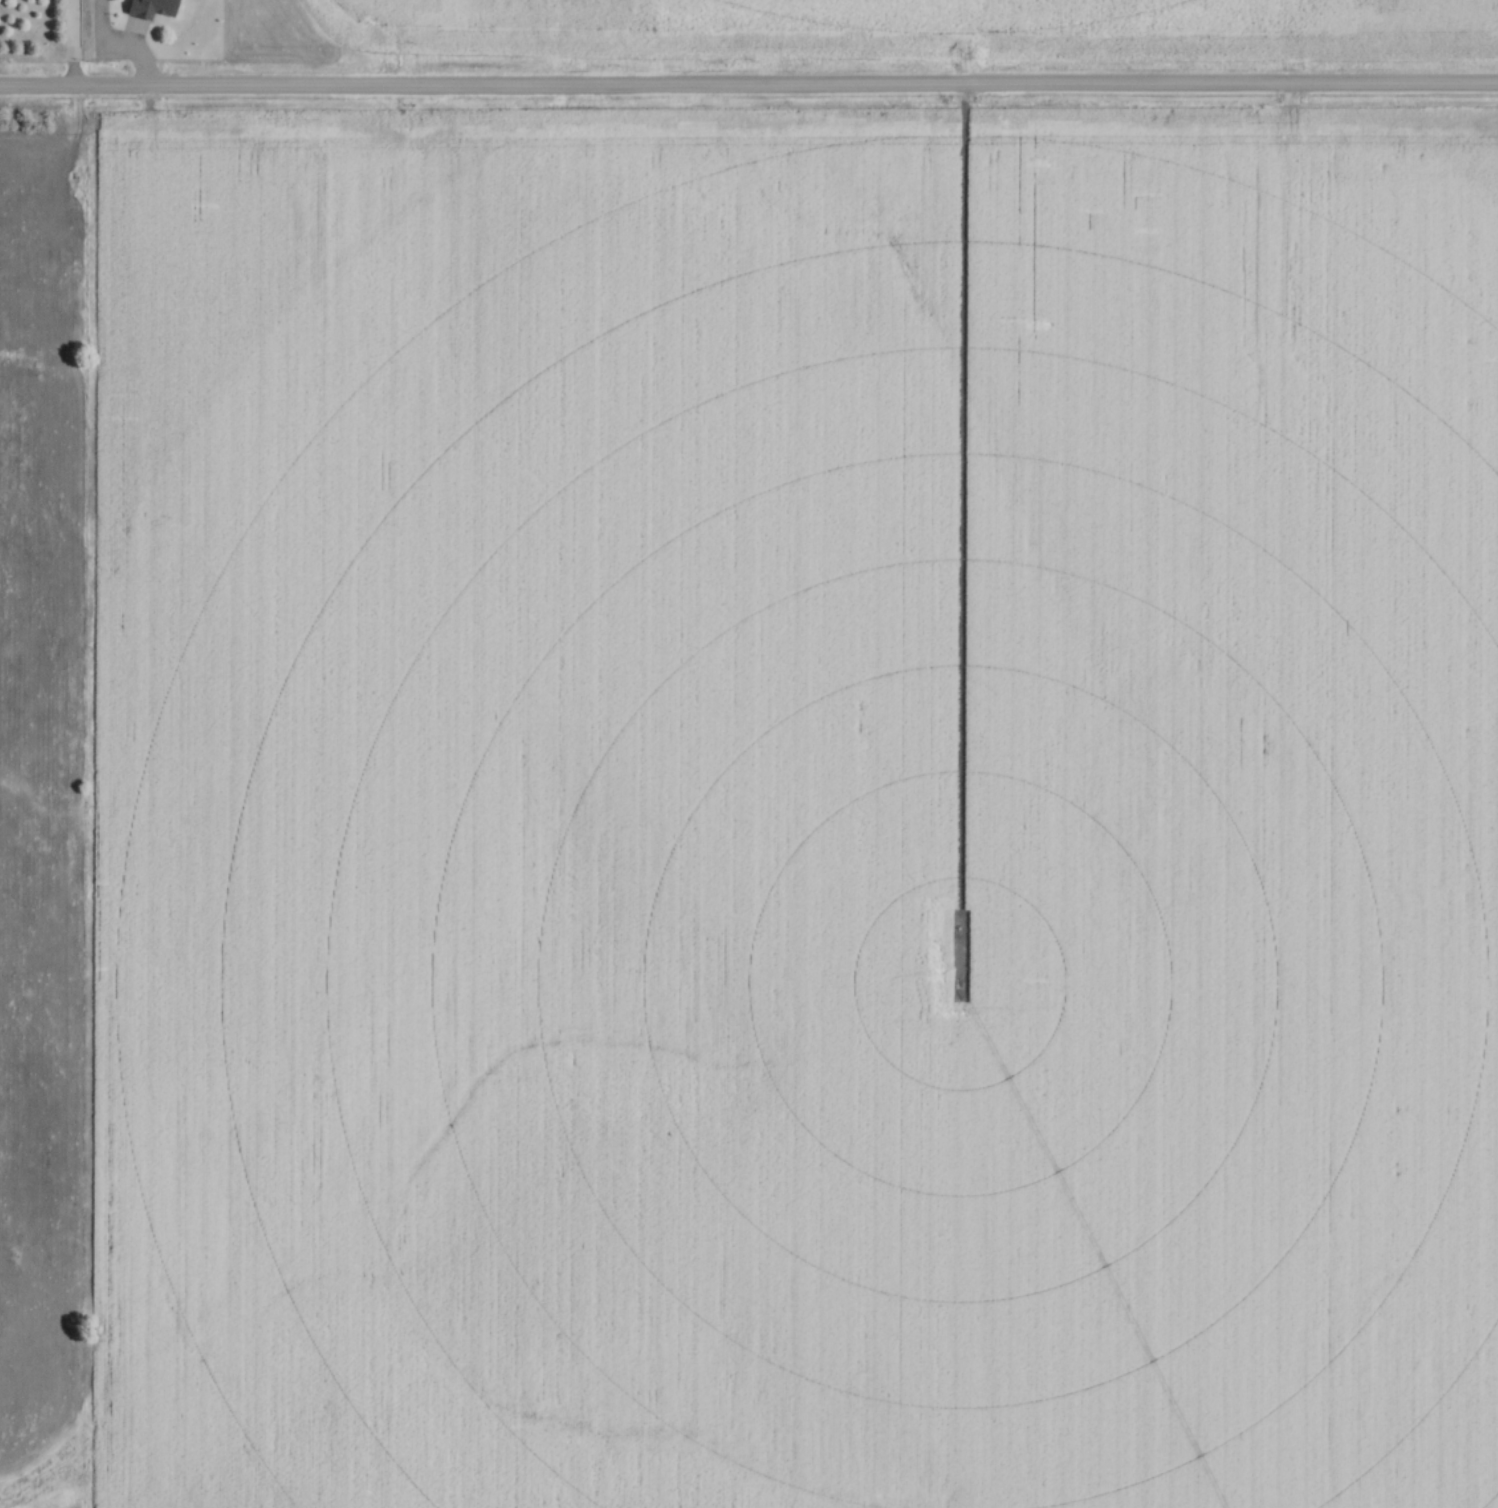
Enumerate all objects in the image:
building: (151, 8)
road: (70, 42)
road: (748, 85)

